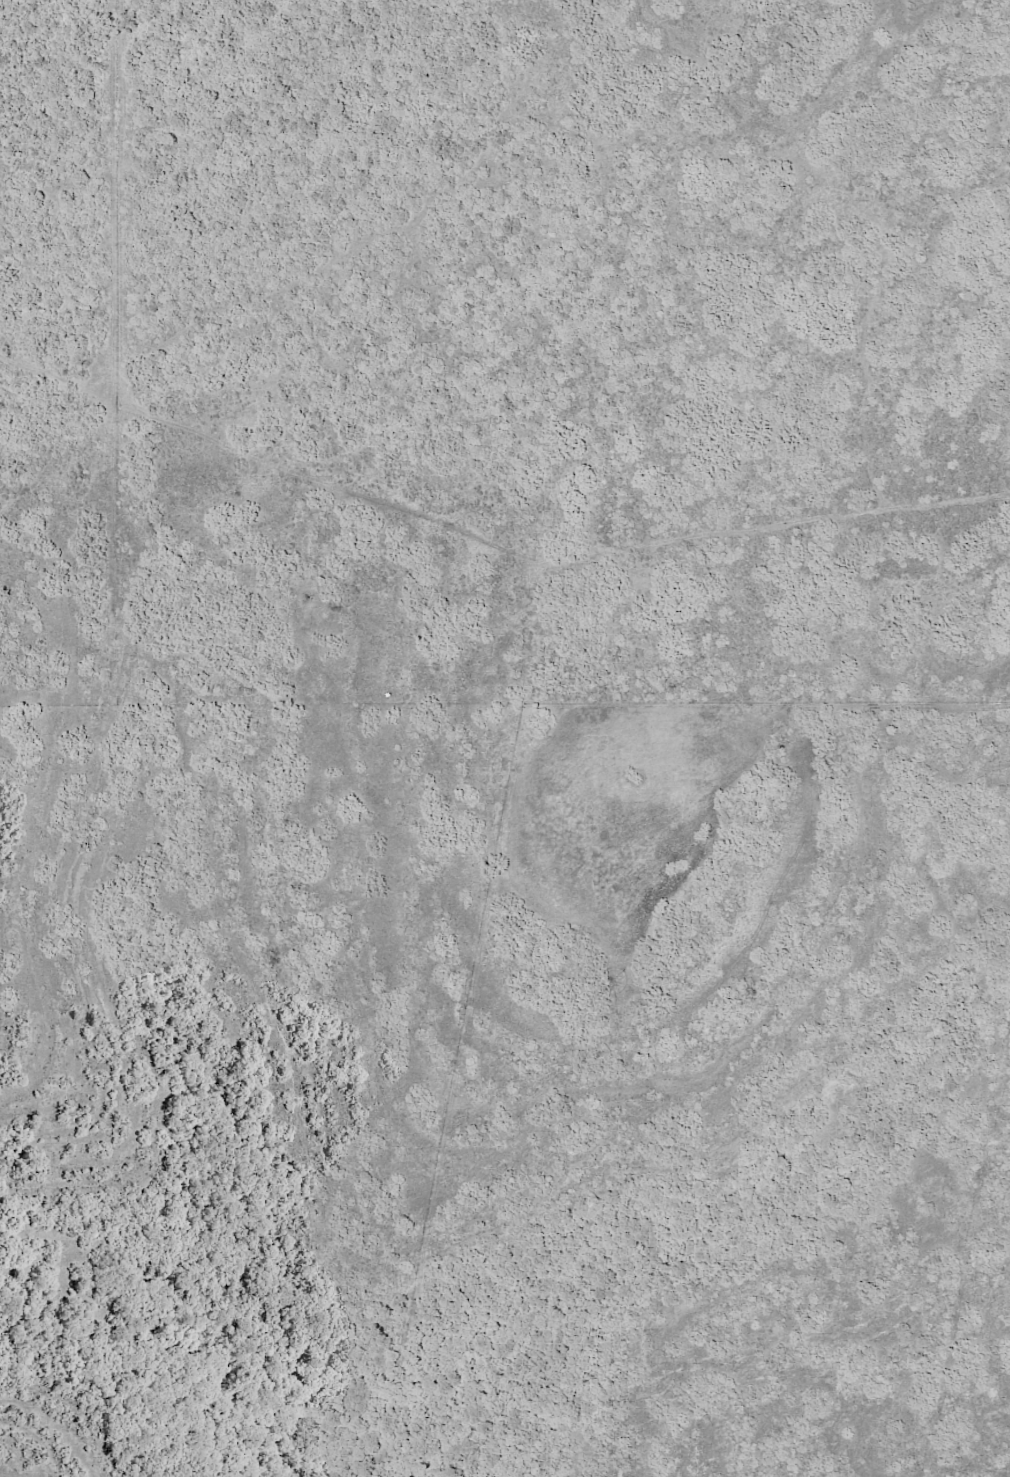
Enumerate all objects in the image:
road: (417, 246)
road: (489, 539)

